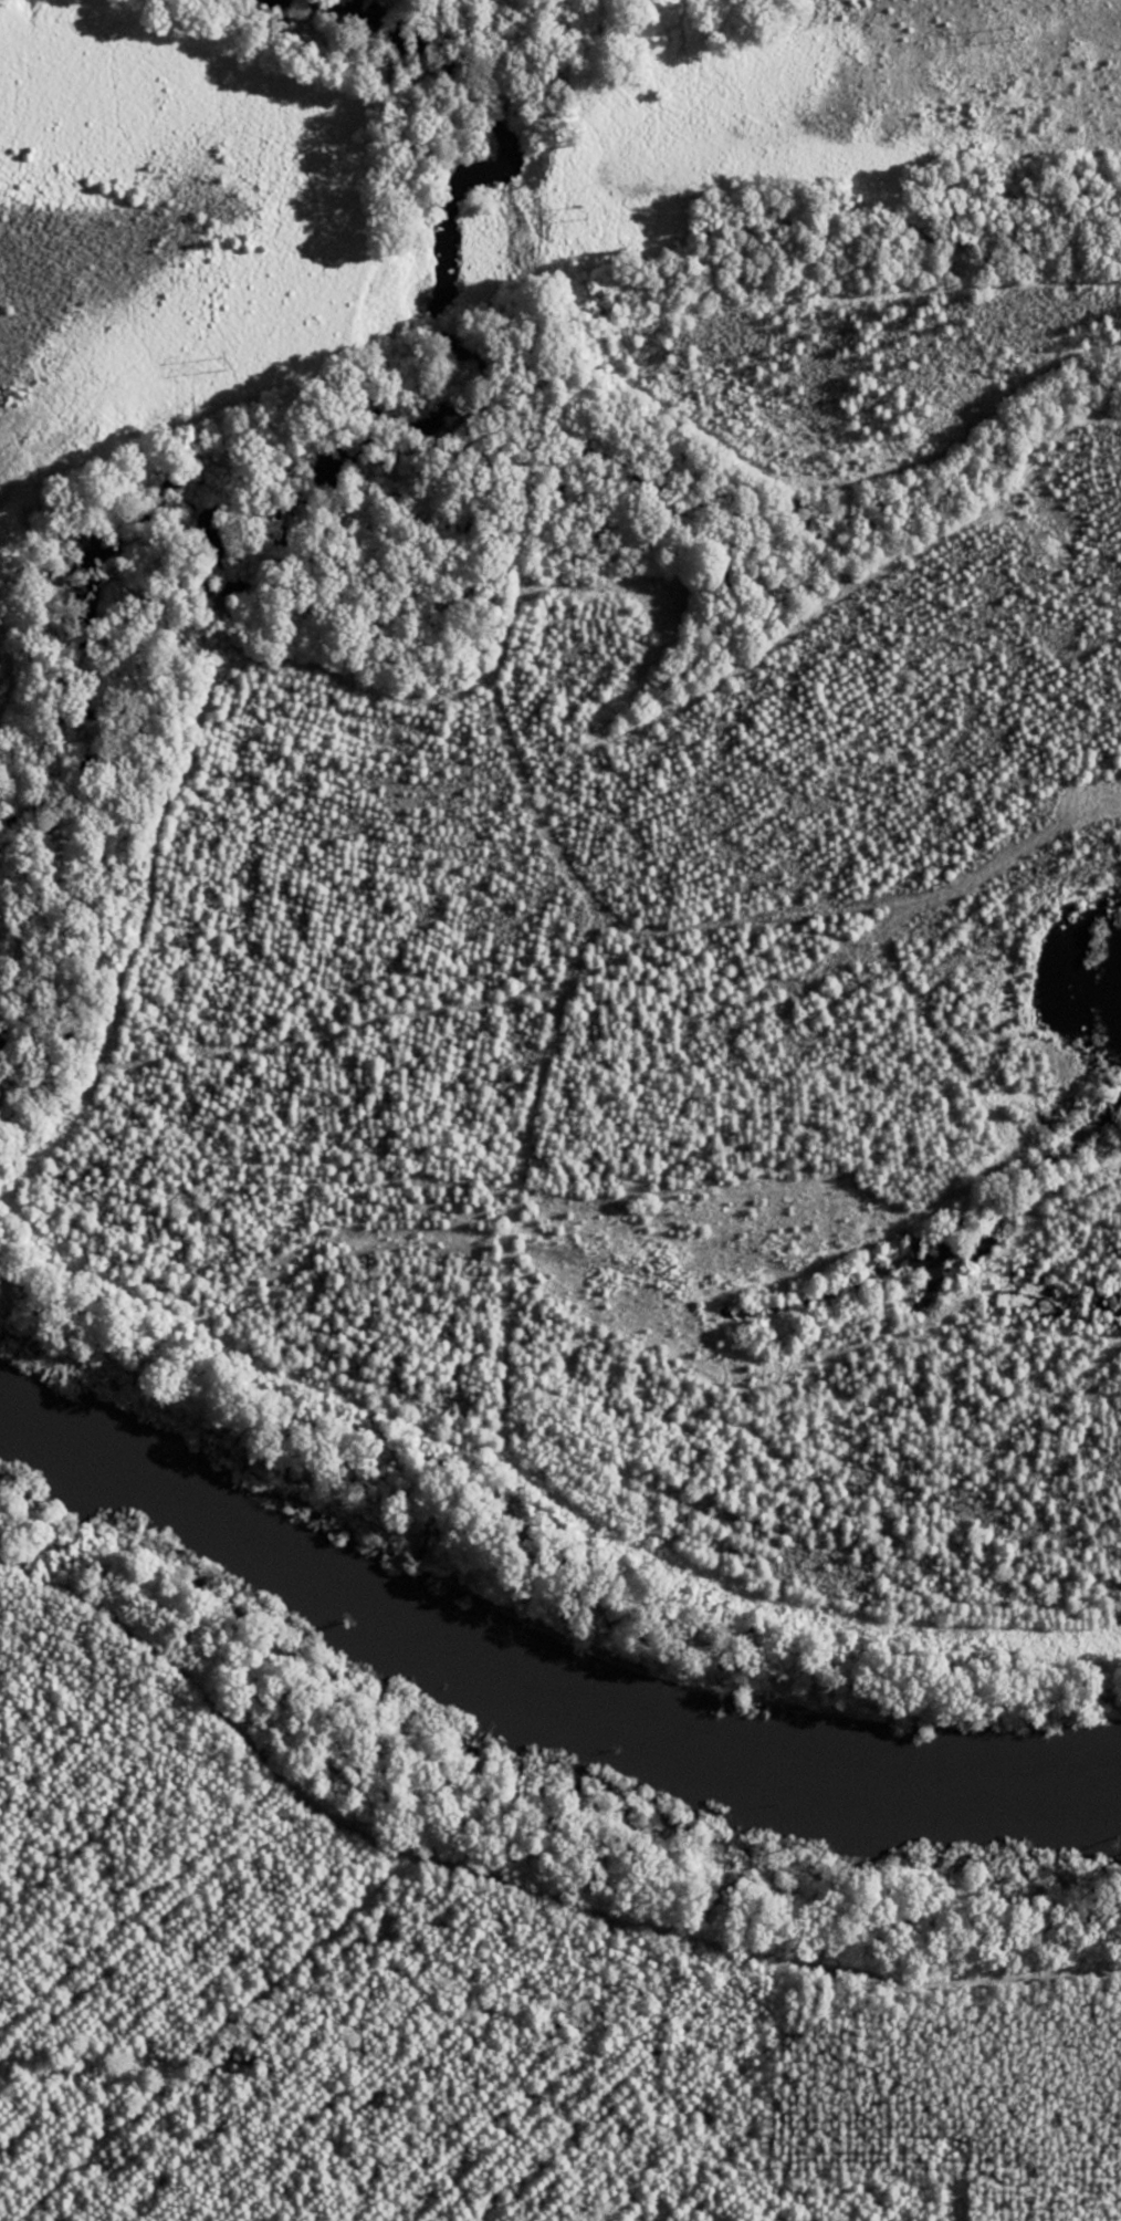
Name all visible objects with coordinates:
power tower: (1009, 34)
road: (1013, 195)
power tower: (587, 209)
power tower: (220, 364)
river: (532, 1691)

